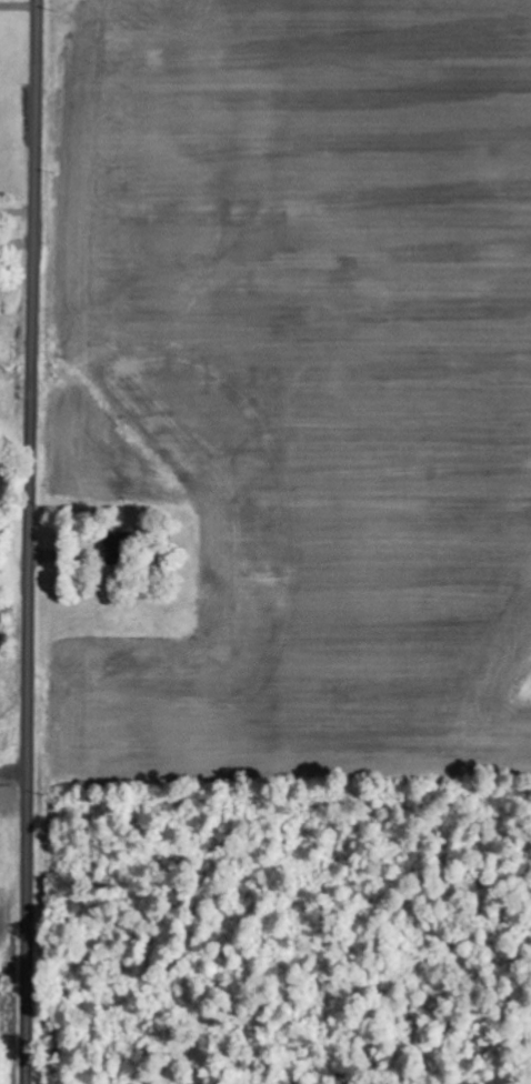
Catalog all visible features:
road: (29, 541)
building: (8, 797)

